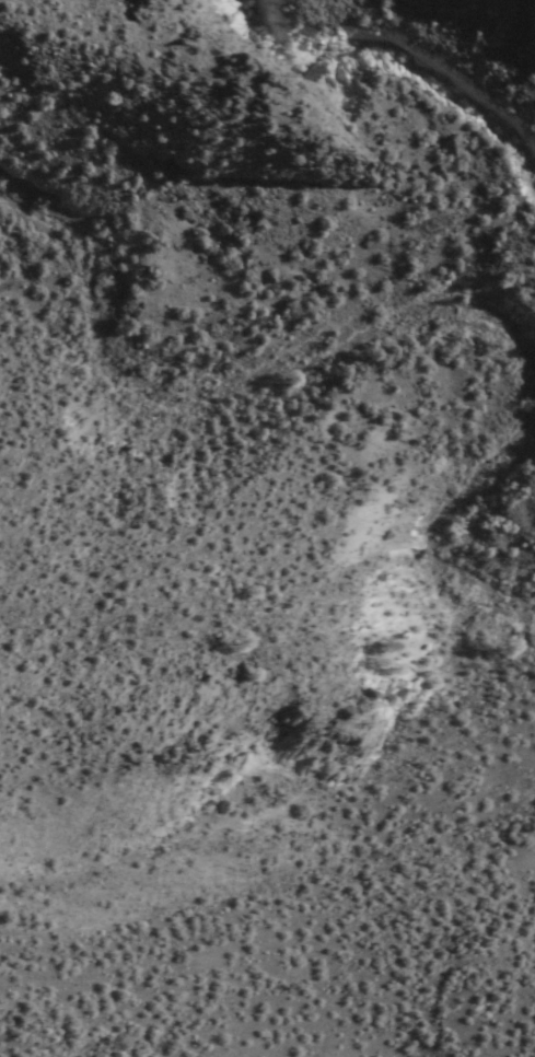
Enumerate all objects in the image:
road: (182, 60)
road: (376, 321)

